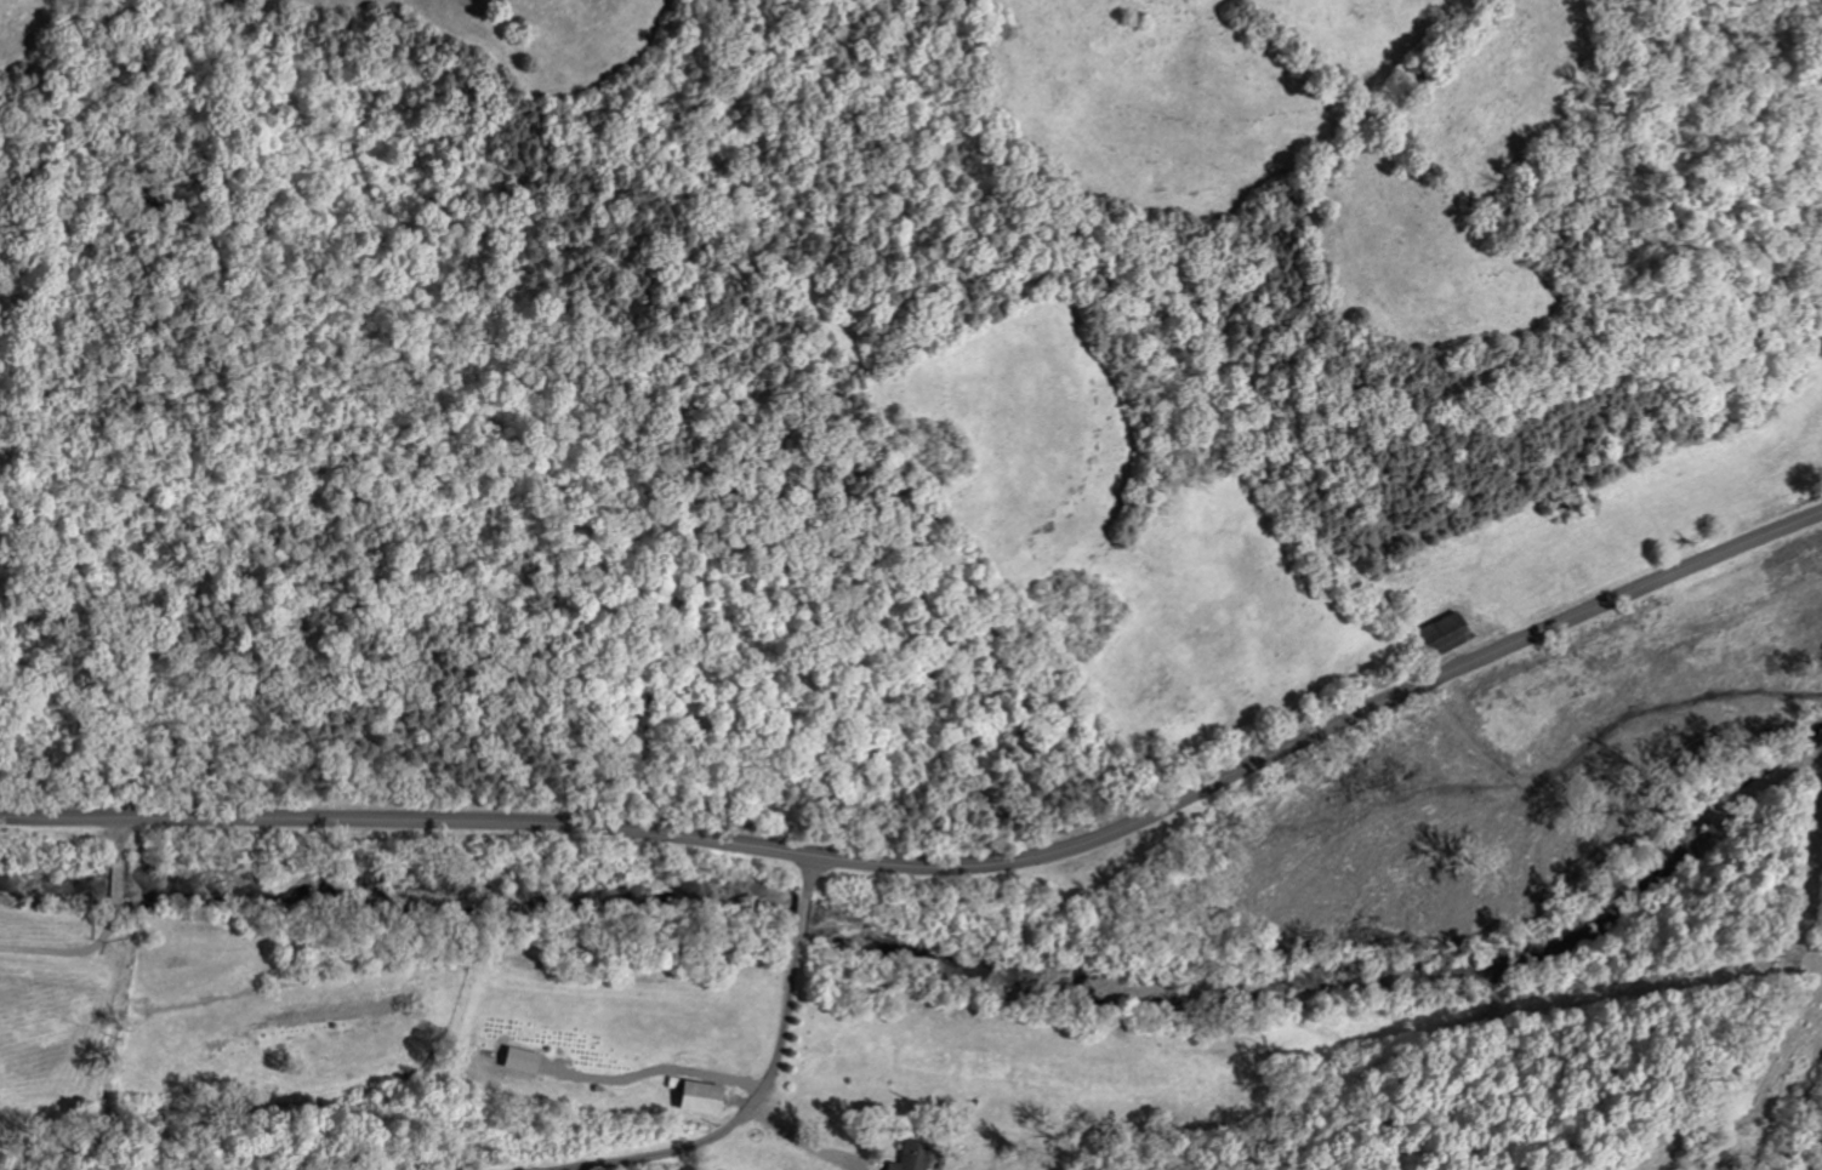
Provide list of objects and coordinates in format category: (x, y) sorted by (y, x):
building: (1440, 634)
road: (946, 864)
road: (108, 931)
road: (1338, 964)
road: (767, 1077)
building: (691, 1096)
road: (801, 1140)
building: (905, 1157)

